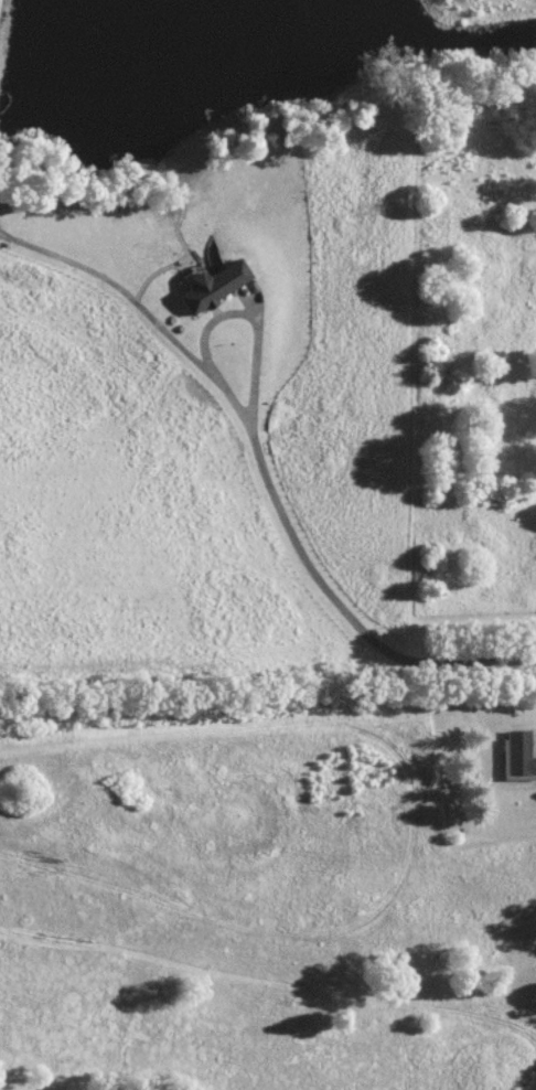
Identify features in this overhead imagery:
building: (212, 285)
road: (117, 286)
road: (227, 313)
road: (344, 610)
building: (518, 756)
park: (250, 1008)

